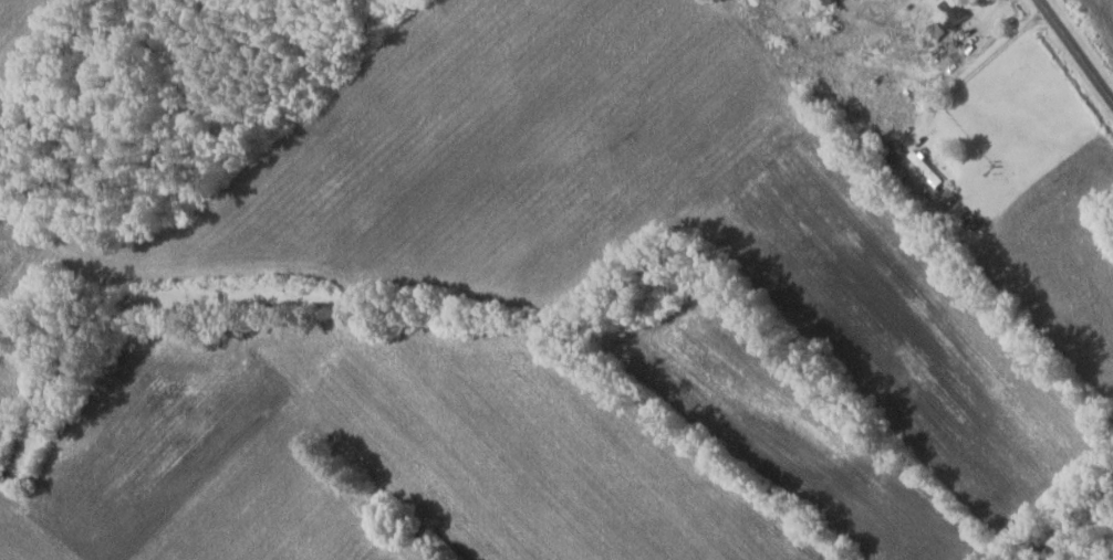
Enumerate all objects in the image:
building: (832, 2)
building: (956, 12)
road: (1075, 50)
building: (927, 169)

